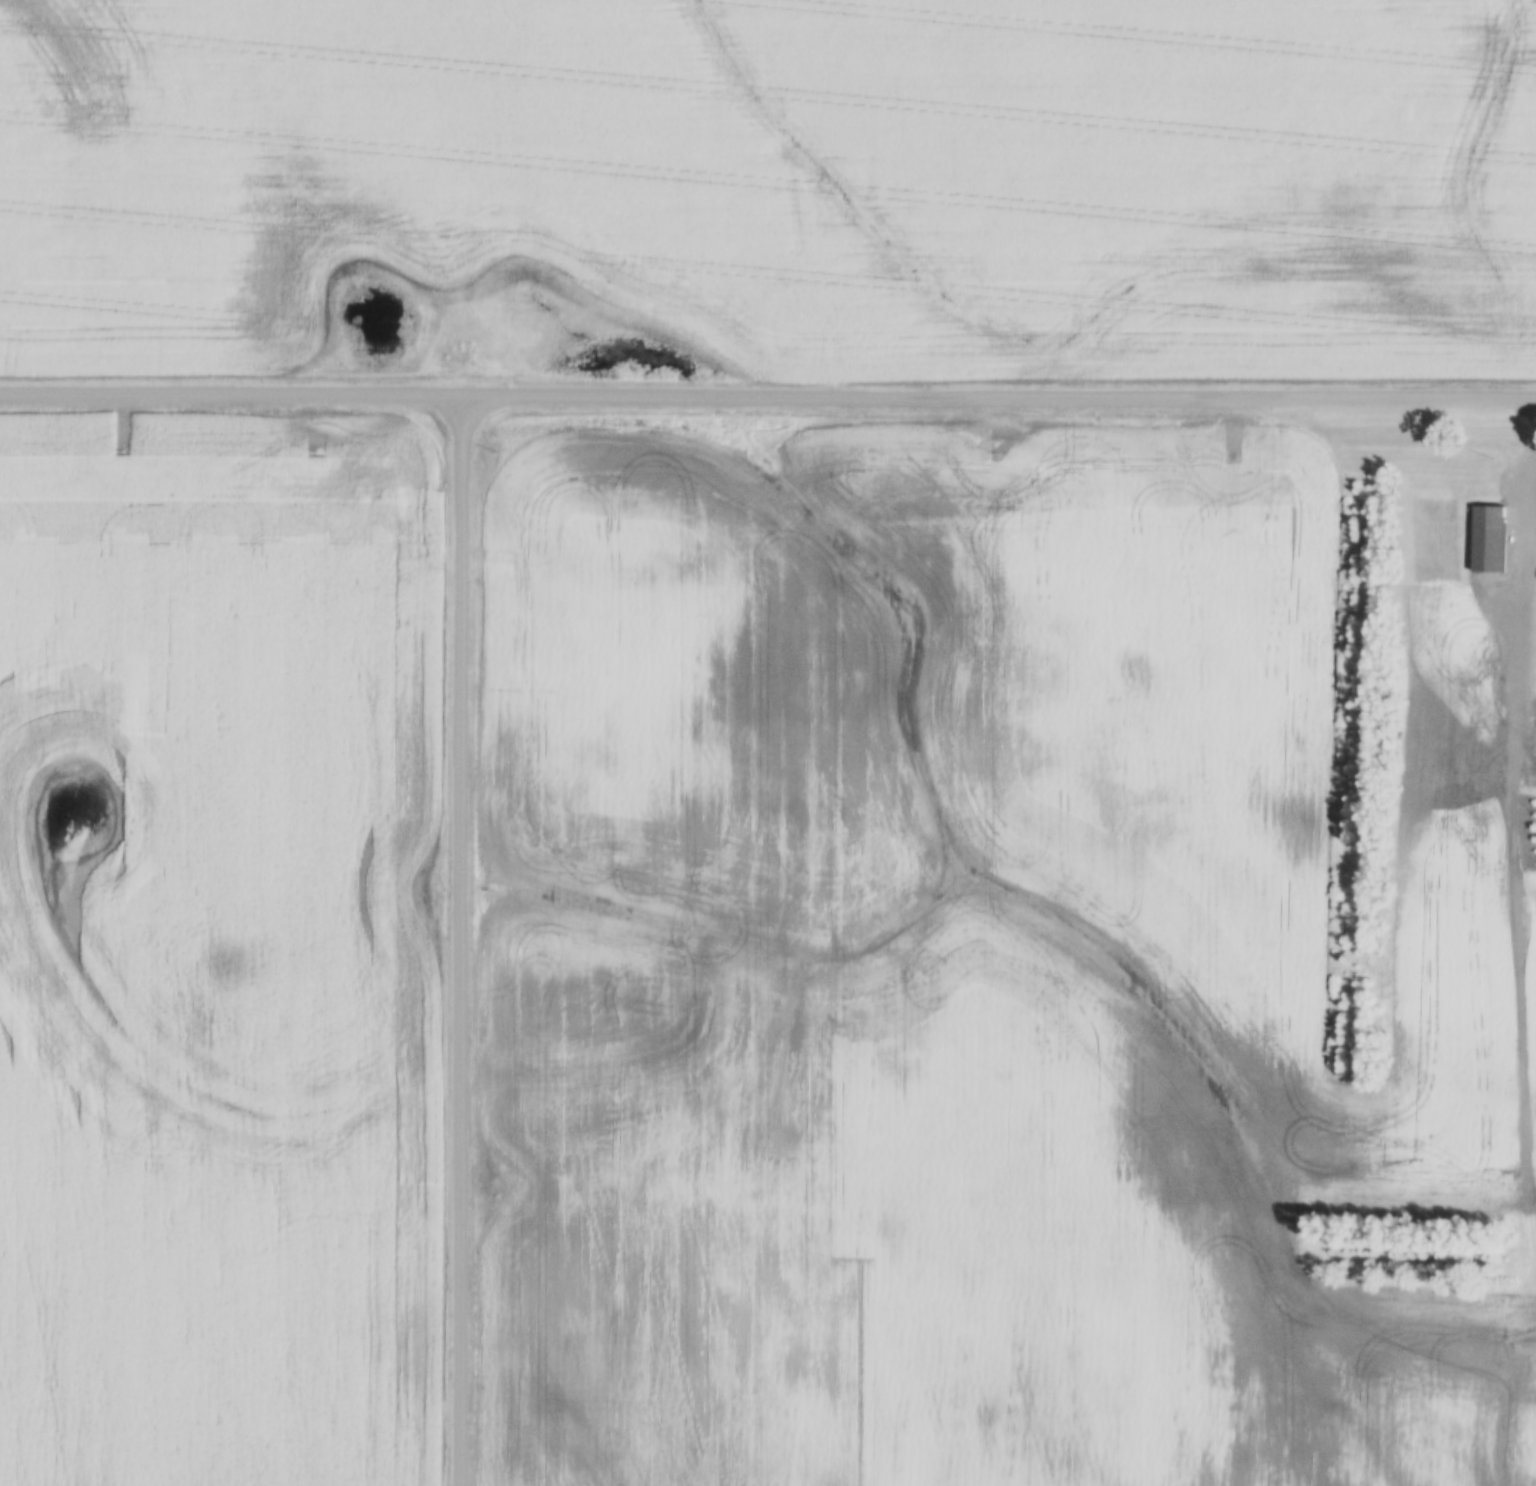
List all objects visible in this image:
road: (767, 397)
road: (1534, 473)
building: (1489, 538)
road: (1529, 633)
road: (462, 941)
road: (1513, 971)

